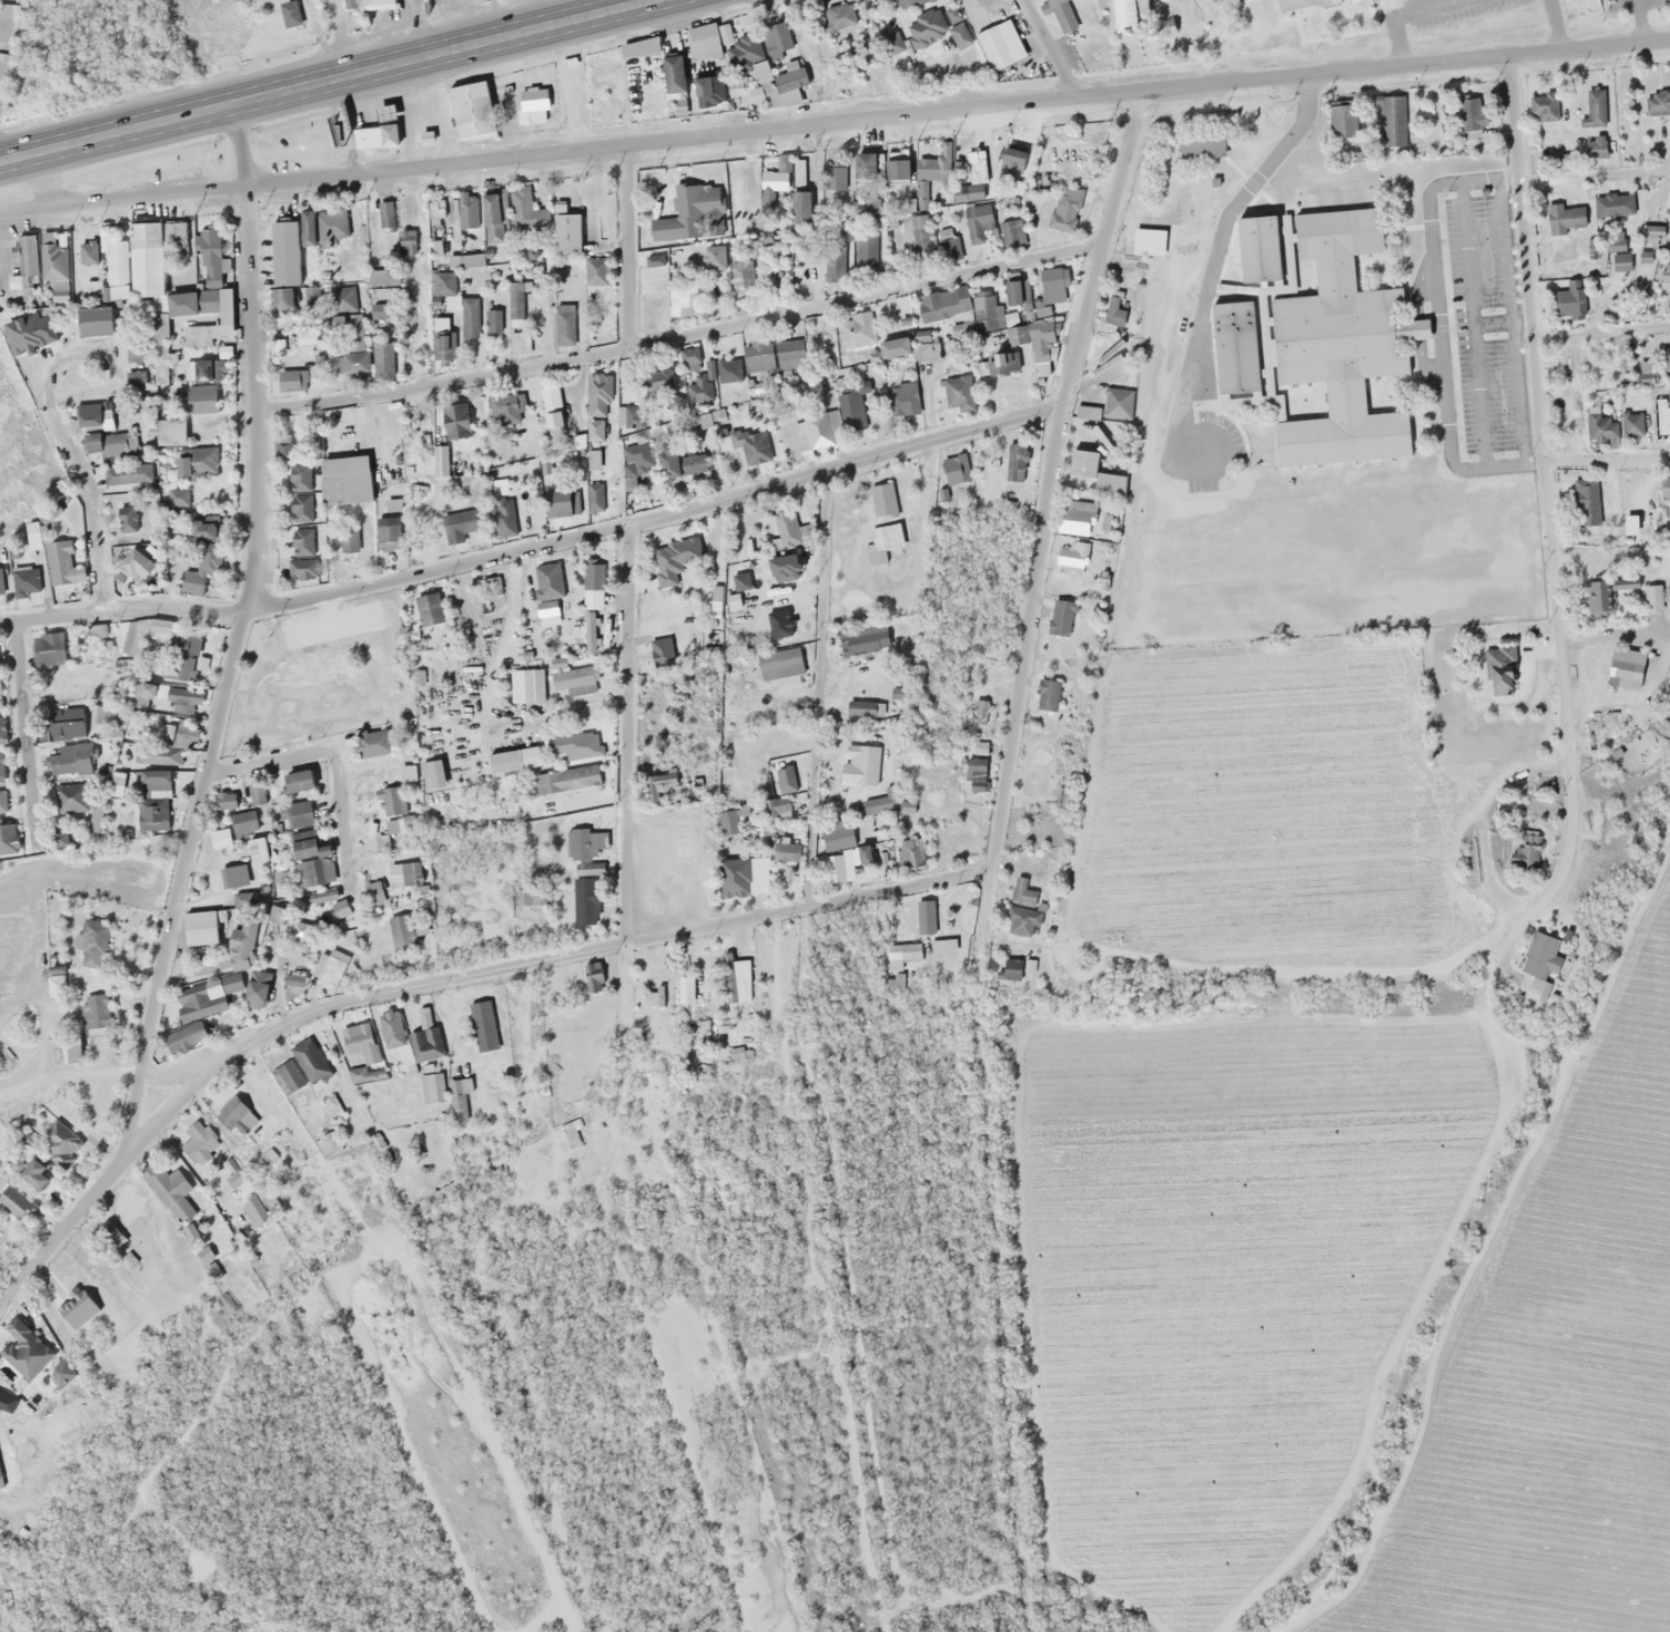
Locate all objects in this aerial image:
building: (1196, 0)
building: (378, 3)
building: (1286, 3)
building: (1051, 8)
building: (289, 13)
building: (1123, 15)
building: (839, 16)
building: (924, 26)
road: (413, 30)
building: (776, 37)
building: (704, 42)
building: (999, 44)
building: (639, 47)
road: (1051, 47)
building: (740, 48)
building: (673, 75)
road: (324, 80)
building: (708, 90)
building: (531, 104)
building: (1544, 105)
building: (1593, 107)
building: (1655, 107)
building: (471, 110)
building: (1471, 116)
road: (1514, 118)
road: (837, 121)
building: (367, 136)
building: (1594, 146)
building: (1011, 161)
building: (864, 165)
building: (896, 165)
building: (974, 175)
road: (1594, 175)
building: (774, 176)
building: (833, 176)
building: (799, 191)
building: (733, 200)
building: (1613, 204)
building: (1064, 211)
building: (682, 212)
building: (384, 214)
building: (1563, 217)
building: (441, 222)
building: (978, 222)
building: (326, 225)
building: (565, 233)
building: (1650, 235)
road: (1213, 236)
building: (405, 237)
building: (877, 237)
building: (1614, 241)
building: (1249, 242)
building: (948, 243)
road: (628, 247)
building: (87, 253)
building: (284, 253)
building: (209, 254)
building: (654, 258)
building: (134, 260)
building: (1619, 260)
building: (44, 266)
building: (1666, 271)
building: (382, 278)
building: (1050, 283)
building: (446, 288)
building: (1016, 289)
building: (282, 299)
building: (1568, 299)
building: (676, 300)
building: (194, 302)
building: (515, 304)
building: (943, 304)
building: (1112, 306)
building: (986, 309)
building: (469, 315)
building: (1010, 317)
building: (97, 321)
building: (492, 322)
building: (563, 325)
building: (225, 329)
building: (855, 329)
building: (347, 331)
road: (1601, 333)
building: (1333, 337)
road: (679, 338)
building: (1225, 342)
building: (292, 345)
building: (442, 346)
building: (911, 347)
building: (1034, 348)
building: (789, 353)
building: (759, 356)
building: (383, 358)
building: (688, 359)
building: (1666, 360)
building: (350, 362)
building: (1001, 364)
building: (208, 369)
building: (727, 370)
building: (1644, 370)
building: (658, 379)
building: (292, 380)
building: (697, 388)
building: (956, 392)
building: (598, 394)
building: (200, 398)
building: (901, 398)
building: (852, 406)
building: (551, 410)
building: (1086, 412)
building: (620, 415)
building: (455, 420)
building: (698, 420)
building: (512, 421)
building: (1632, 425)
building: (1661, 425)
building: (1601, 426)
building: (579, 441)
building: (282, 447)
building: (112, 448)
building: (755, 450)
road: (1540, 456)
building: (636, 459)
building: (439, 460)
building: (593, 460)
building: (1015, 461)
road: (1605, 461)
building: (198, 465)
building: (1081, 465)
building: (681, 467)
road: (1043, 476)
building: (954, 478)
building: (345, 480)
building: (1663, 488)
road: (86, 491)
building: (300, 491)
building: (594, 496)
building: (177, 498)
building: (1583, 502)
building: (858, 504)
building: (1076, 512)
building: (502, 516)
road: (652, 517)
building: (126, 518)
building: (457, 525)
building: (883, 525)
building: (204, 527)
building: (1668, 528)
building: (844, 529)
building: (386, 536)
building: (302, 541)
building: (1069, 557)
building: (674, 561)
building: (59, 562)
building: (137, 563)
building: (301, 568)
building: (201, 572)
building: (592, 579)
building: (547, 590)
building: (1598, 597)
building: (1651, 597)
road: (122, 610)
building: (428, 610)
building: (1060, 616)
building: (159, 628)
building: (590, 630)
road: (239, 634)
building: (133, 636)
building: (51, 647)
building: (780, 663)
building: (123, 666)
building: (180, 667)
building: (1624, 668)
building: (663, 671)
building: (574, 678)
road: (817, 688)
building: (1045, 694)
building: (166, 696)
building: (865, 707)
building: (100, 715)
building: (66, 723)
building: (1, 731)
road: (23, 731)
building: (170, 731)
road: (626, 734)
building: (561, 747)
building: (160, 754)
road: (324, 757)
building: (69, 759)
building: (513, 759)
building: (860, 764)
building: (1, 769)
building: (405, 772)
building: (431, 773)
building: (975, 774)
building: (565, 778)
building: (155, 781)
building: (298, 783)
building: (116, 785)
building: (255, 791)
building: (1, 794)
building: (70, 798)
building: (225, 800)
building: (393, 809)
building: (776, 809)
building: (152, 815)
building: (94, 819)
building: (837, 835)
building: (220, 837)
building: (8, 839)
building: (303, 842)
building: (583, 843)
building: (257, 849)
building: (784, 850)
building: (1523, 857)
building: (833, 868)
building: (404, 873)
building: (235, 875)
building: (735, 876)
building: (527, 894)
building: (1021, 894)
building: (243, 899)
building: (583, 901)
road: (984, 901)
building: (341, 913)
building: (276, 916)
building: (923, 916)
building: (1020, 921)
building: (401, 926)
building: (204, 927)
building: (91, 941)
building: (942, 944)
building: (242, 946)
building: (901, 957)
road: (528, 963)
building: (1539, 963)
building: (330, 965)
building: (1010, 969)
building: (592, 975)
building: (56, 981)
building: (228, 983)
building: (660, 992)
building: (256, 995)
building: (198, 1002)
building: (94, 1010)
building: (482, 1025)
building: (391, 1029)
building: (425, 1037)
building: (360, 1041)
building: (72, 1047)
building: (309, 1060)
building: (285, 1078)
building: (431, 1087)
building: (458, 1099)
building: (330, 1106)
building: (234, 1109)
building: (58, 1142)
building: (325, 1142)
building: (36, 1174)
building: (254, 1210)
road: (57, 1229)
building: (210, 1252)
building: (24, 1349)
road: (1035, 1424)

